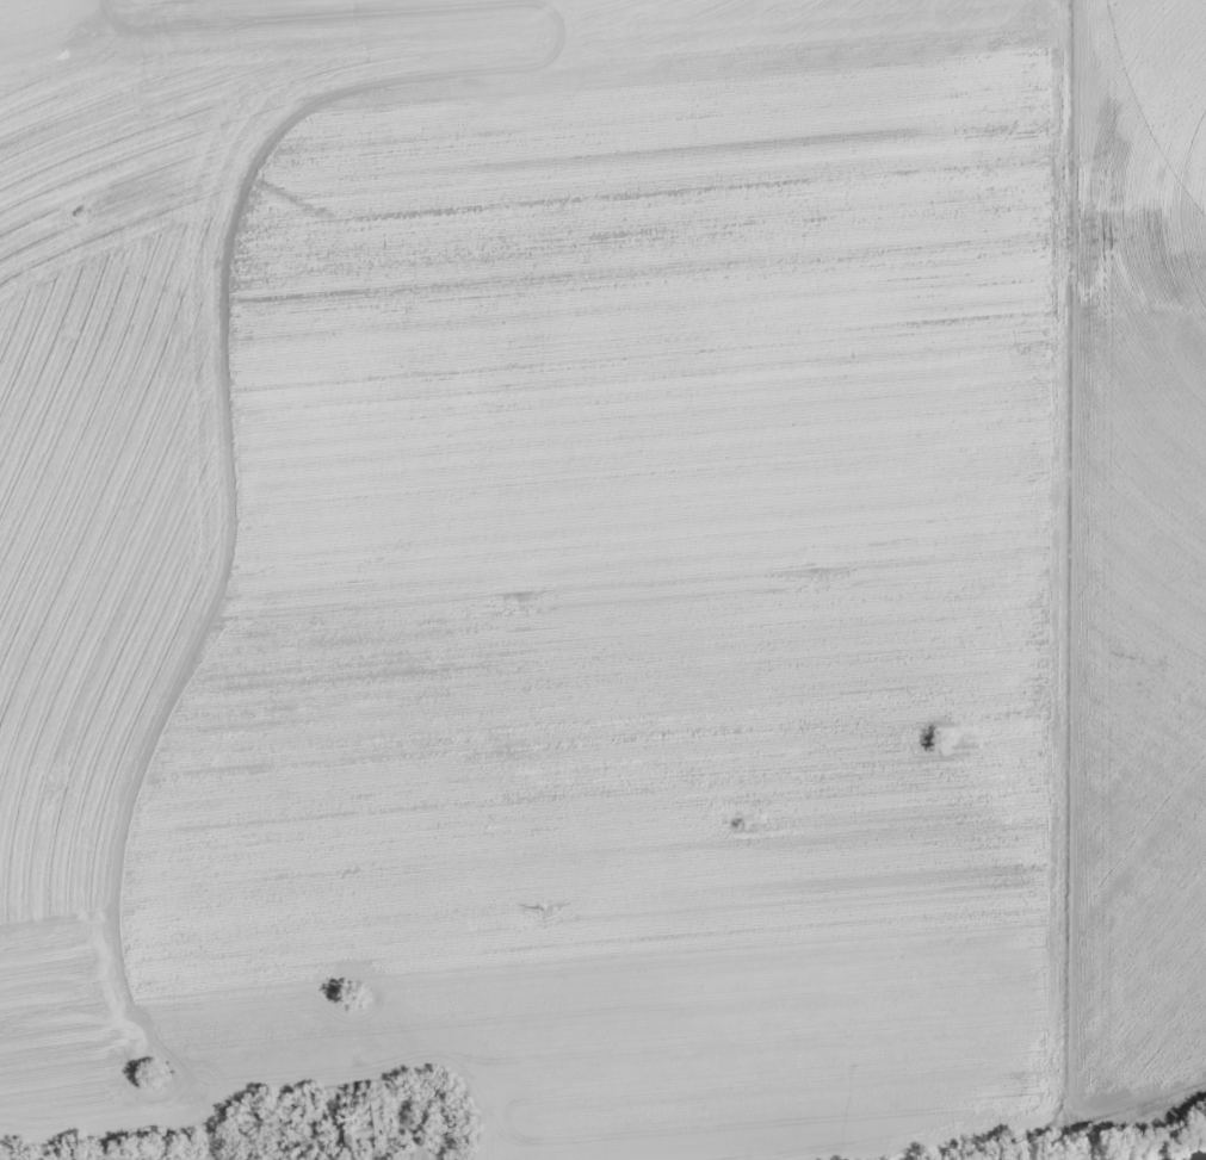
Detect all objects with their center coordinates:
road: (227, 271)
road: (203, 1146)

